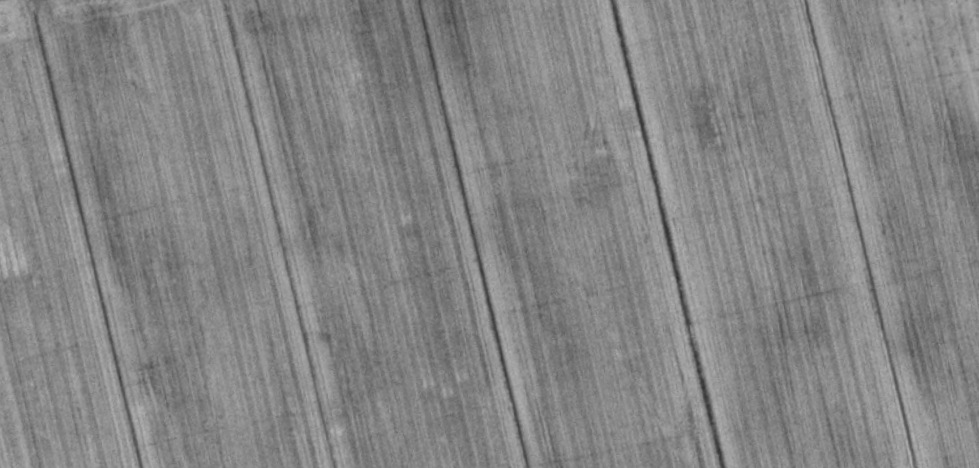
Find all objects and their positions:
crop: (489, 234)

